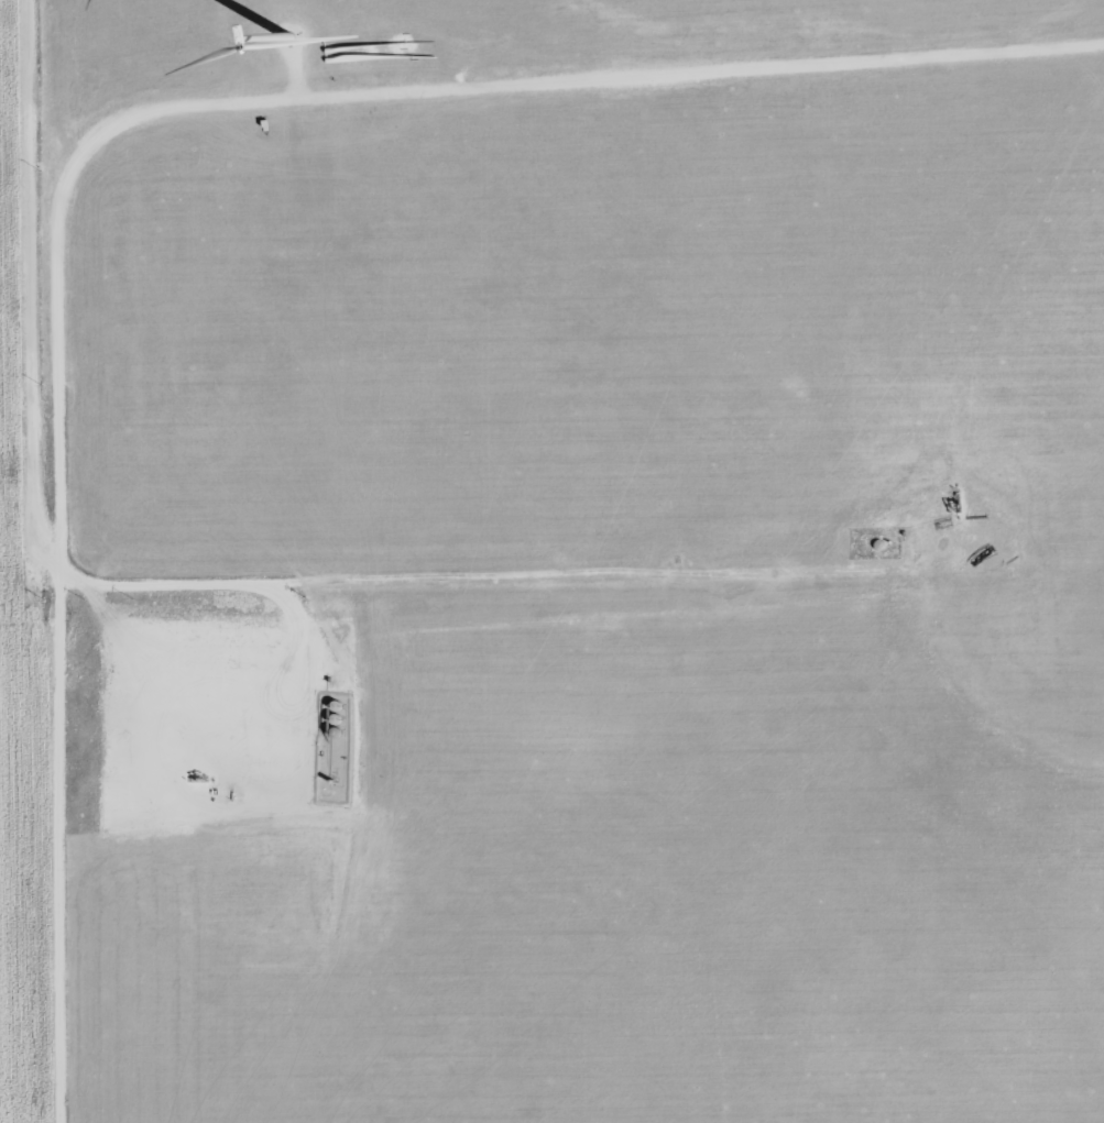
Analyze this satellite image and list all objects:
wind turbine: (275, 37)

